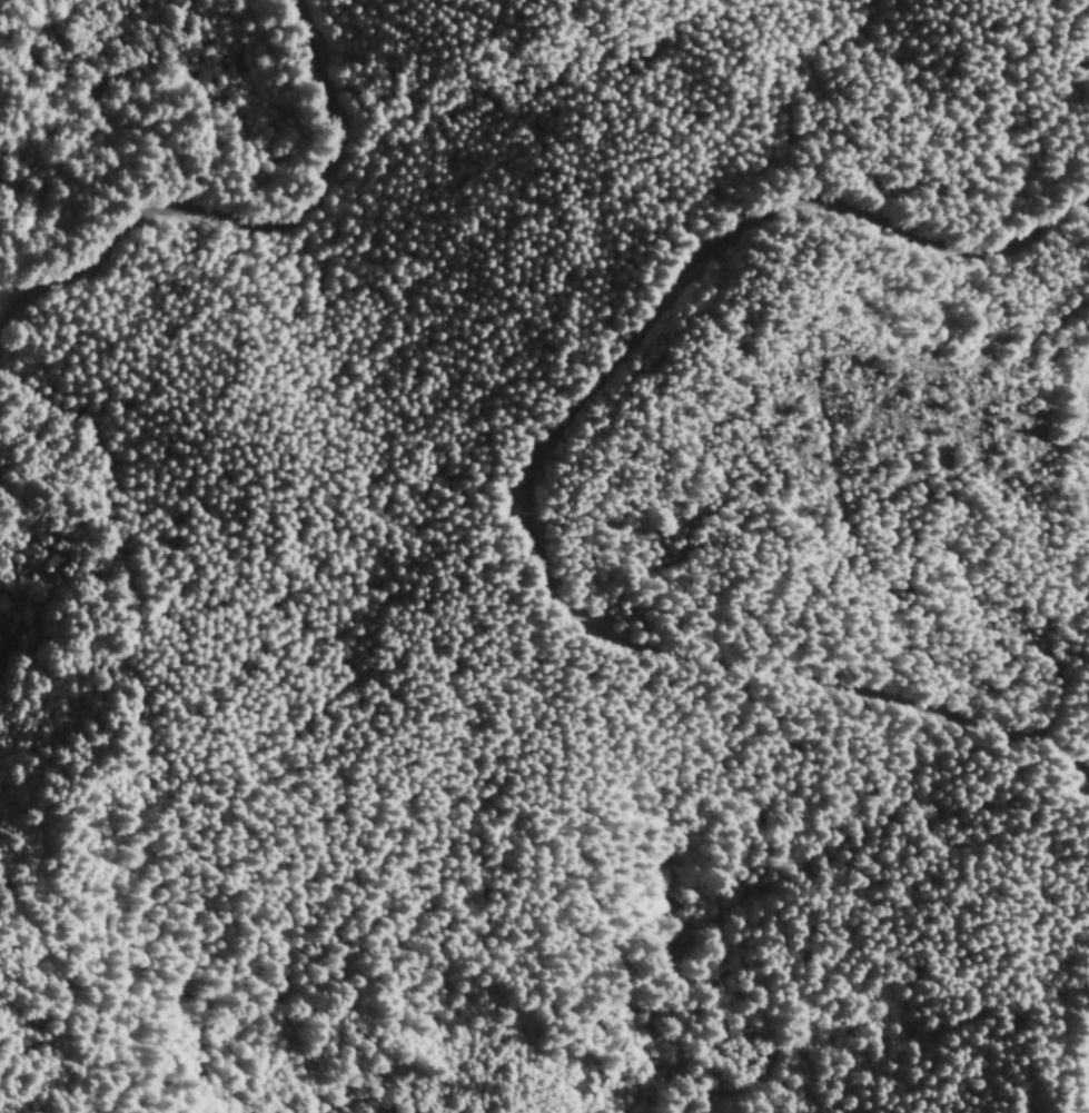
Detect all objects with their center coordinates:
road: (171, 200)
road: (465, 1100)
road: (75, 1101)

